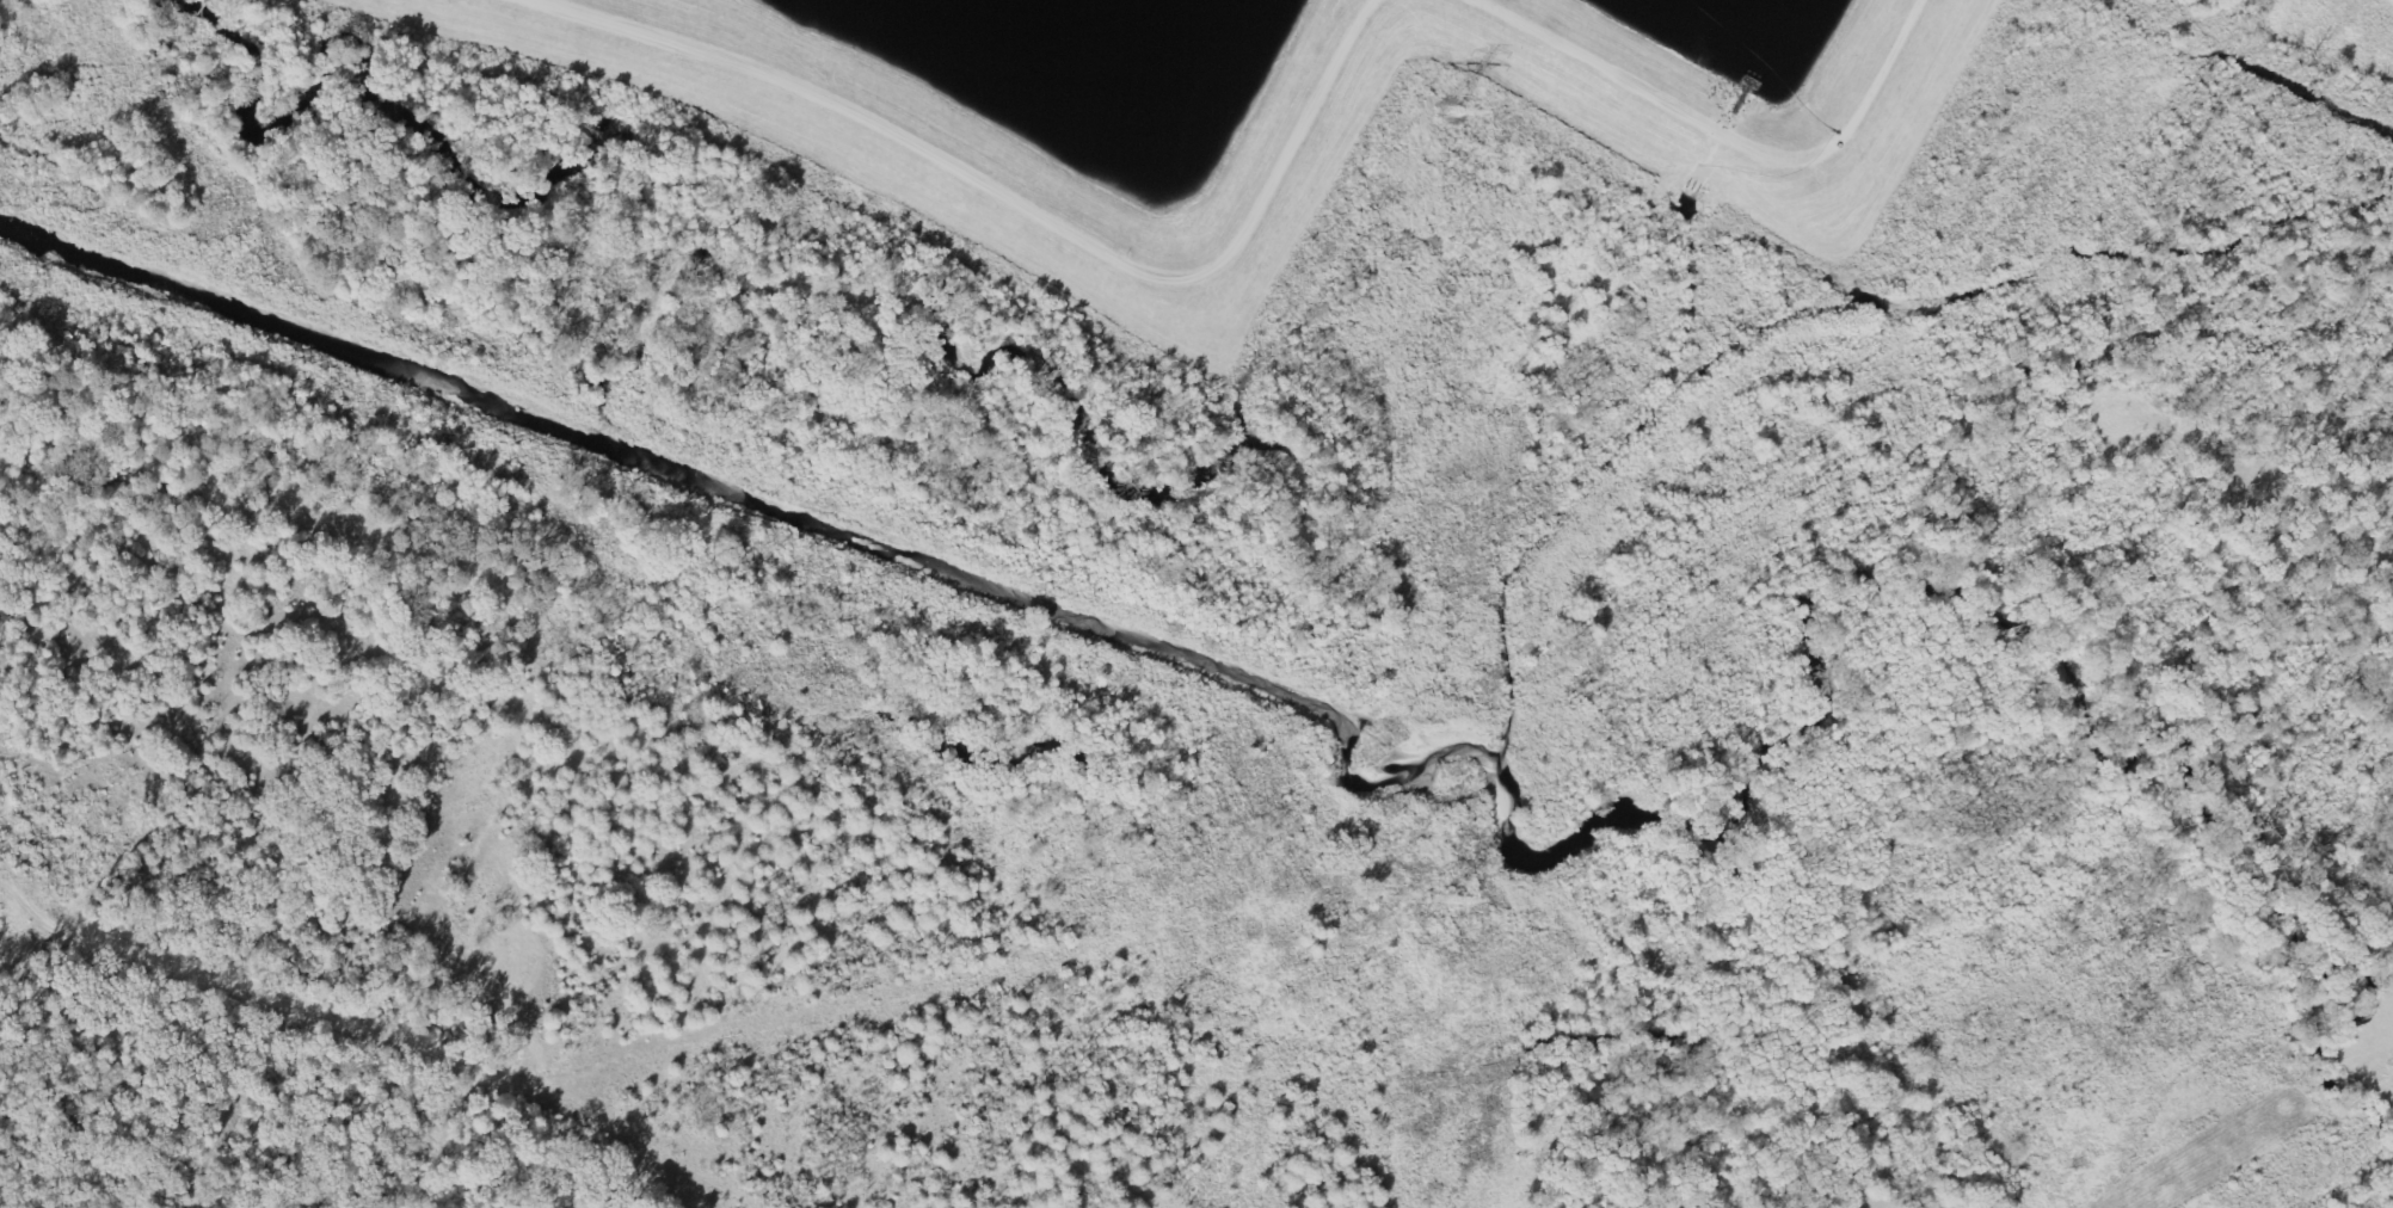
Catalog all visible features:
quarry: (1031, 56)
power tower: (1448, 112)
power tower: (1450, 902)

